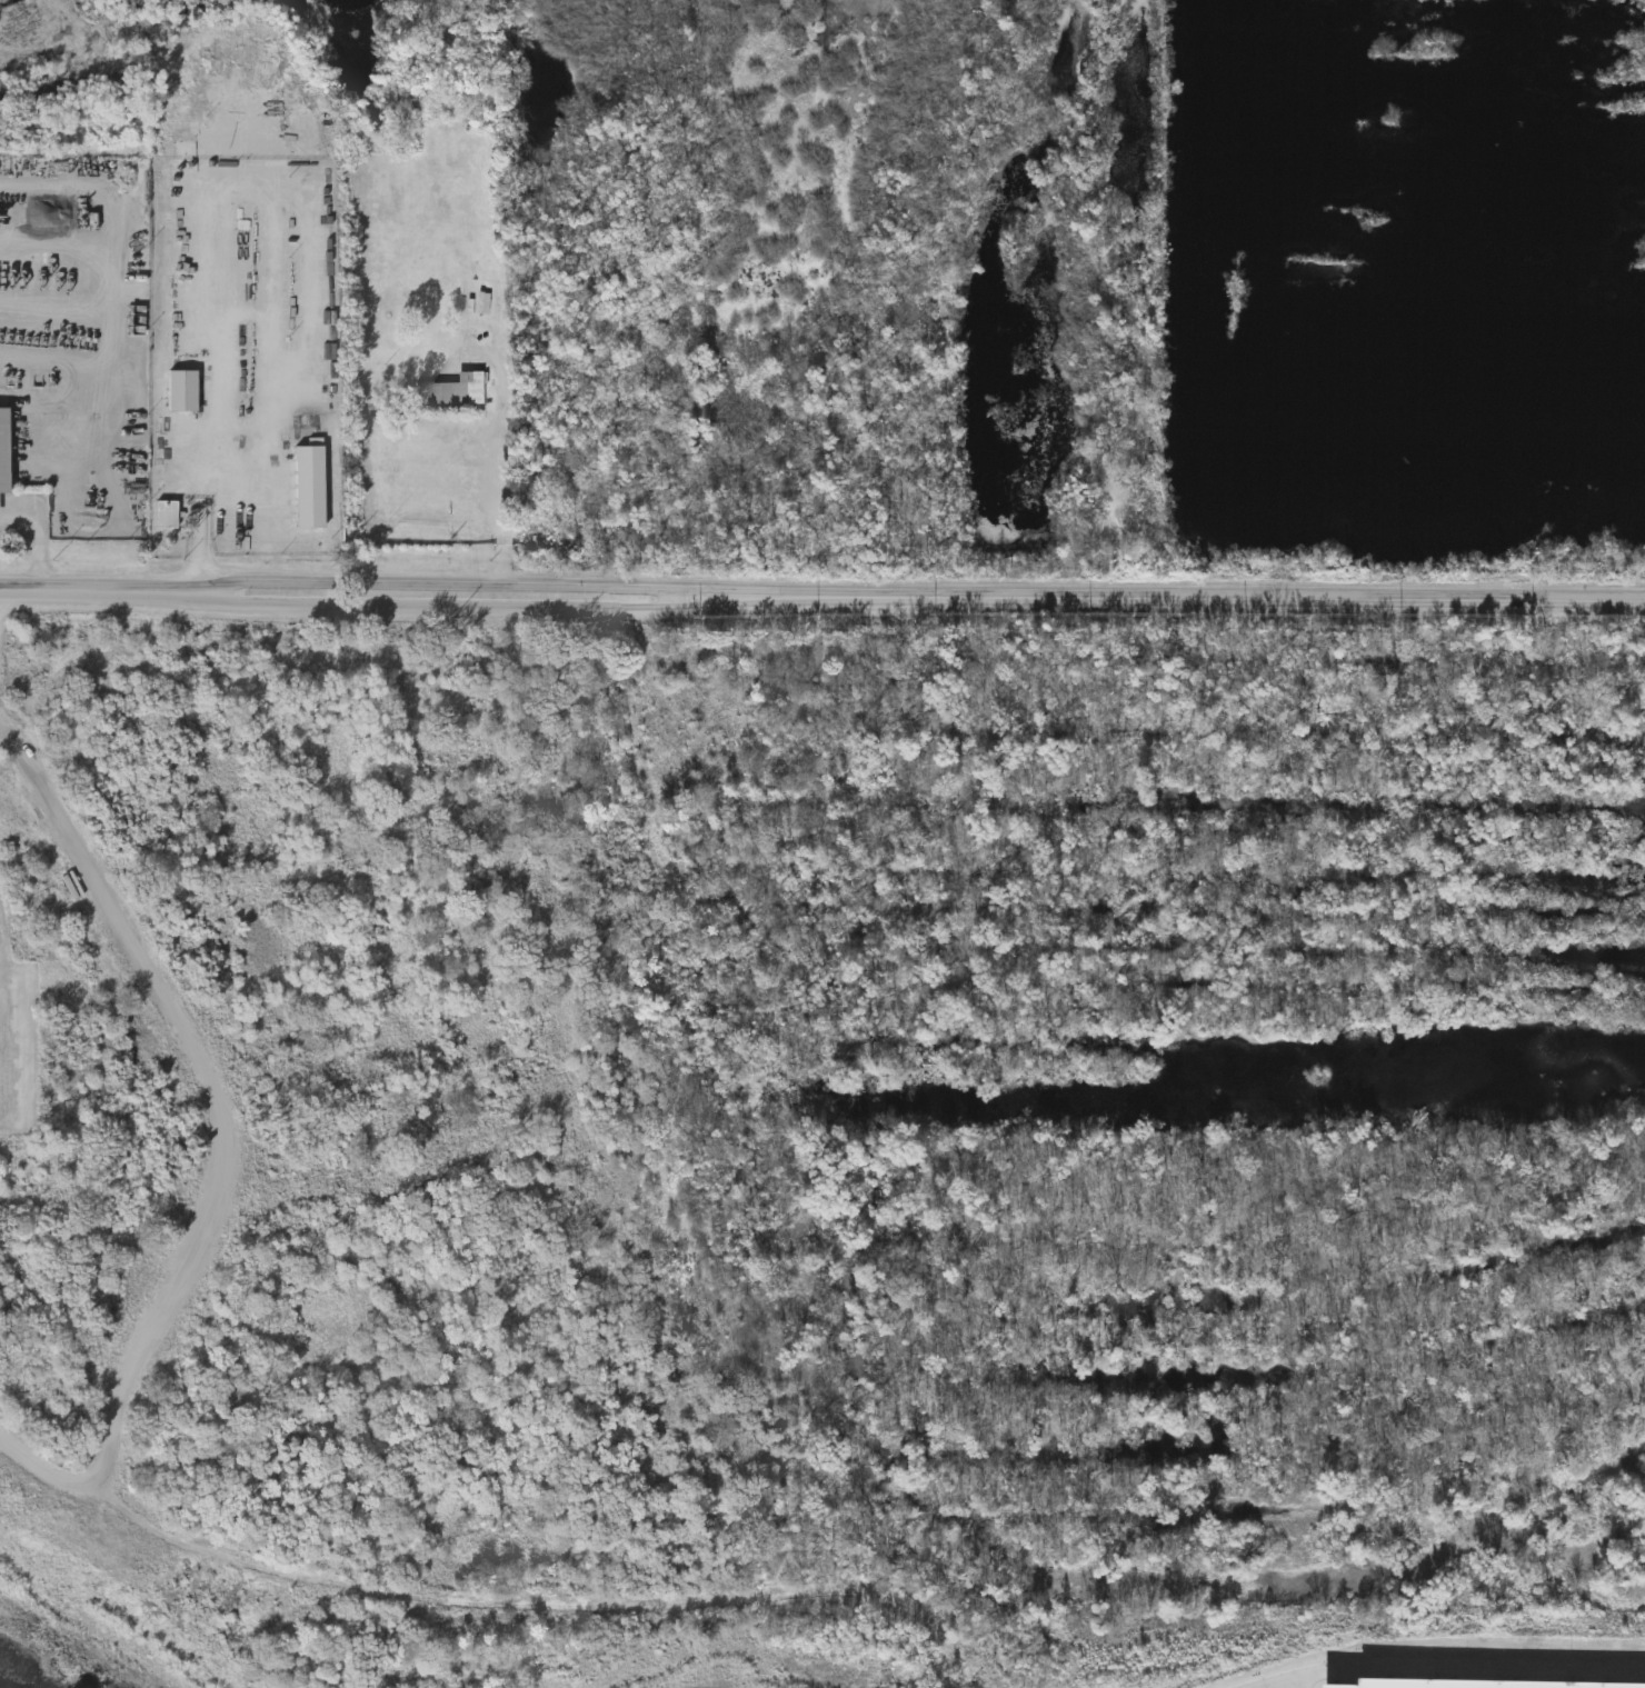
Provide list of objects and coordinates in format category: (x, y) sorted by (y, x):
road: (114, 266)
building: (182, 389)
building: (455, 389)
building: (4, 450)
road: (202, 512)
building: (166, 515)
road: (42, 538)
road: (471, 586)
road: (101, 593)
road: (1193, 601)
road: (471, 608)
road: (1459, 1671)
building: (1483, 1678)

